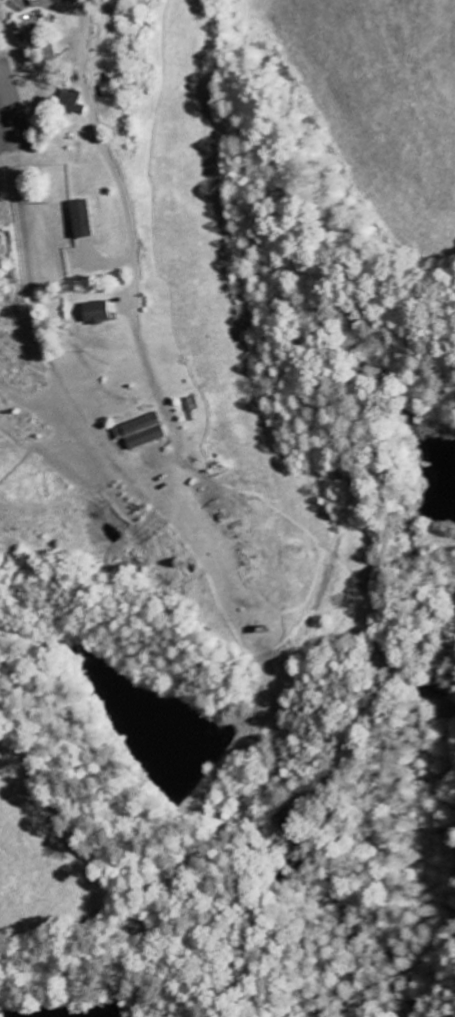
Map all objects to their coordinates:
road: (90, 18)
building: (50, 52)
building: (71, 102)
building: (81, 220)
building: (98, 313)
building: (142, 432)

